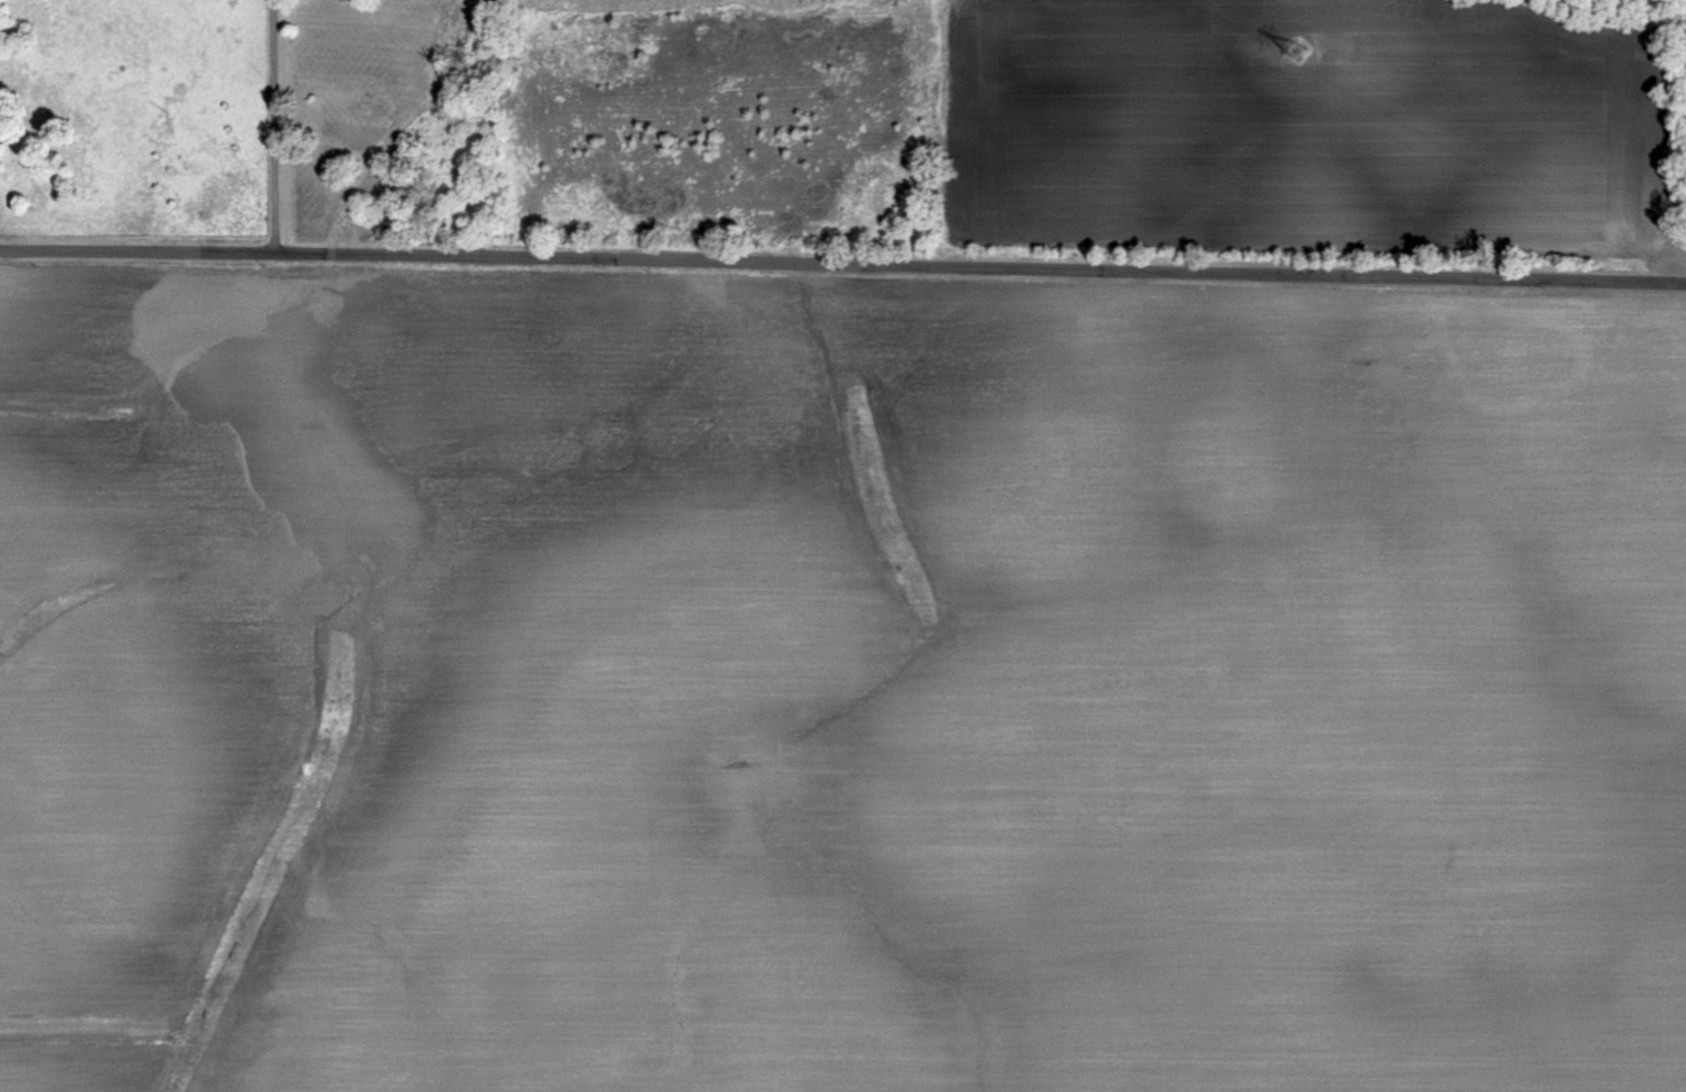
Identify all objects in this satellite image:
power tower: (1278, 41)
road: (275, 127)
road: (842, 265)

